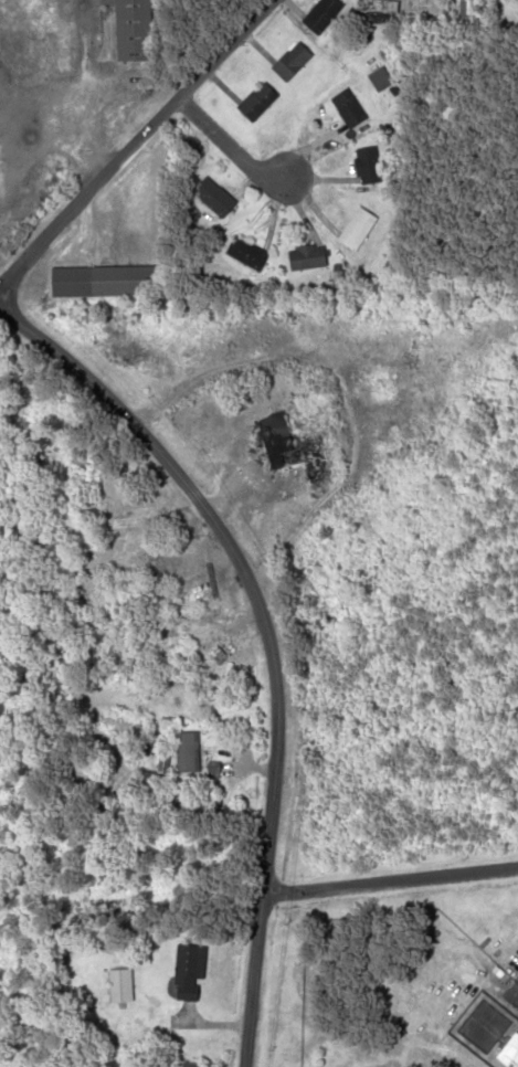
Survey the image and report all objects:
building: (379, 12)
building: (469, 12)
building: (323, 14)
building: (135, 30)
building: (293, 61)
building: (381, 80)
building: (260, 101)
building: (350, 108)
road: (230, 144)
road: (135, 145)
building: (369, 165)
building: (215, 197)
building: (359, 228)
building: (249, 253)
building: (309, 256)
building: (104, 281)
road: (342, 384)
building: (295, 448)
building: (135, 518)
building: (168, 568)
building: (173, 637)
road: (263, 637)
building: (216, 655)
building: (186, 752)
road: (388, 881)
building: (191, 973)
building: (121, 985)
building: (511, 1055)
building: (193, 1065)

